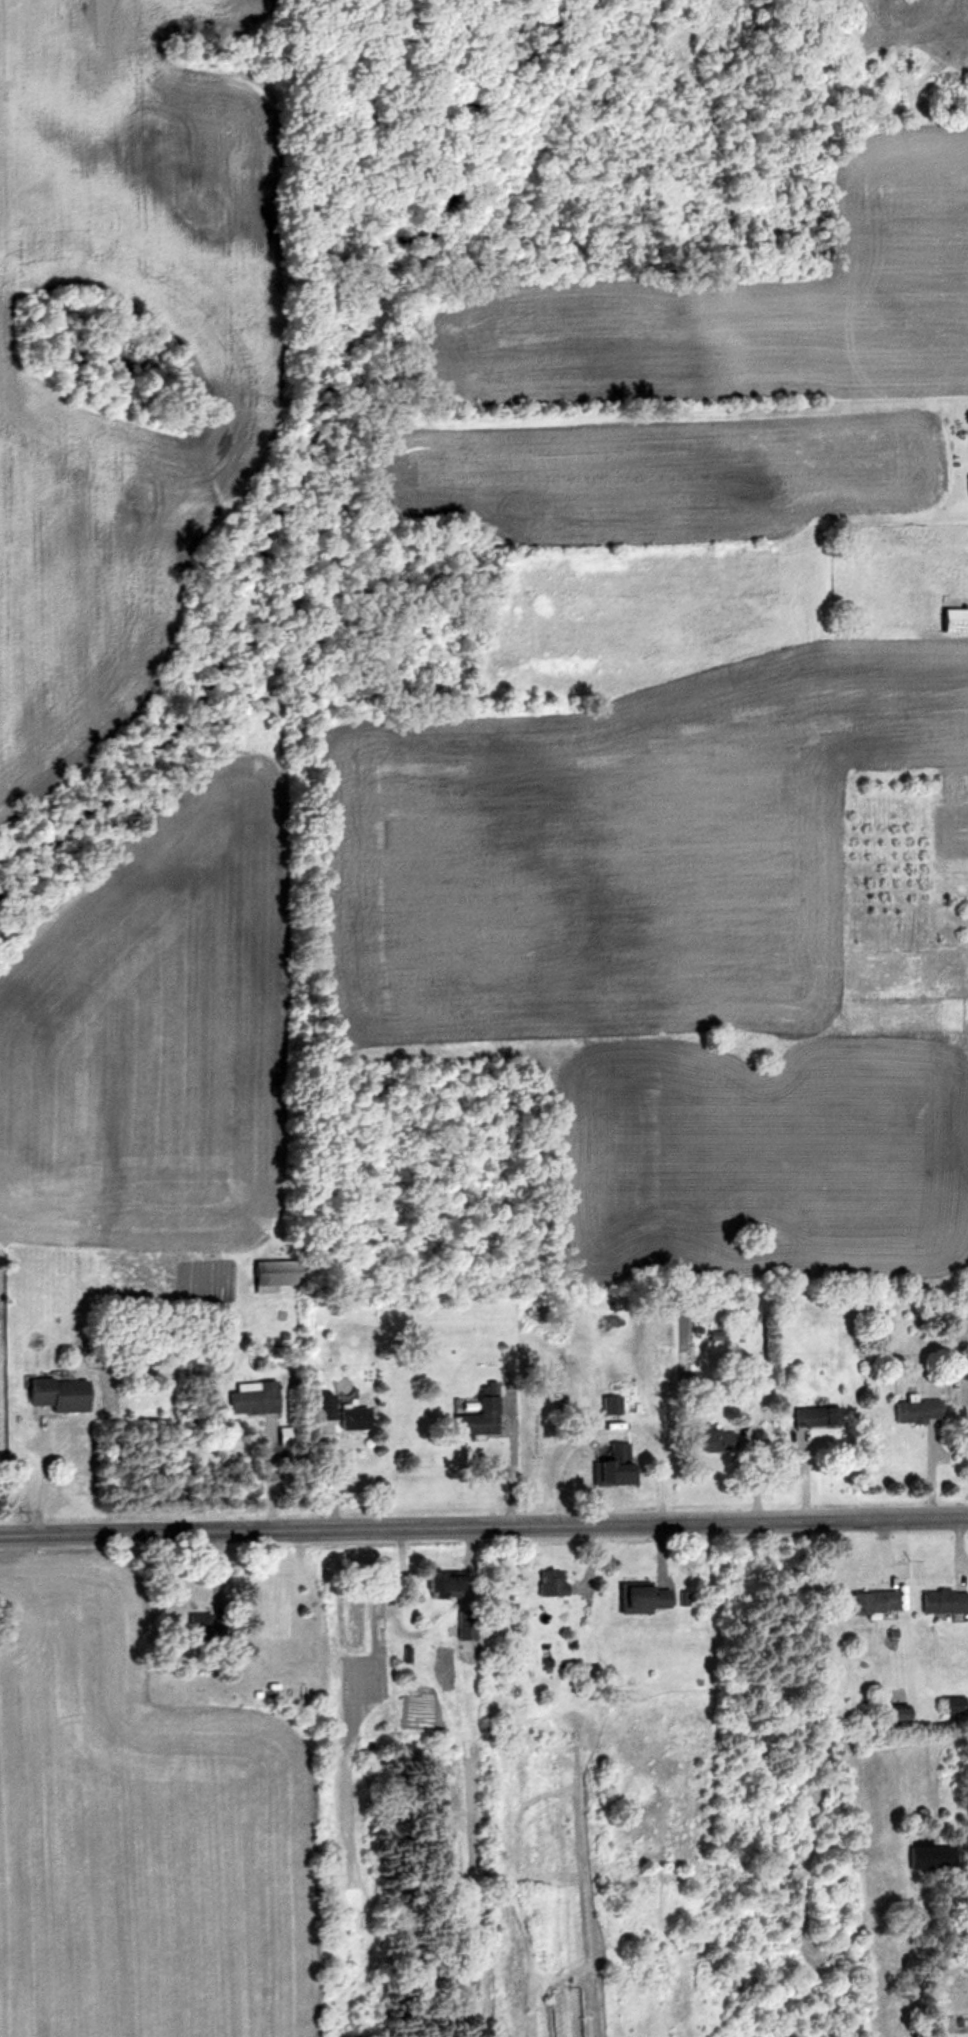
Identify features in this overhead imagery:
building: (273, 1275)
building: (283, 1335)
building: (491, 1389)
building: (59, 1394)
building: (252, 1397)
building: (323, 1406)
building: (611, 1406)
building: (635, 1407)
building: (915, 1409)
building: (351, 1416)
building: (808, 1416)
building: (830, 1416)
building: (478, 1418)
road: (608, 1428)
building: (283, 1435)
building: (706, 1438)
road: (747, 1441)
road: (512, 1455)
building: (609, 1461)
road: (931, 1469)
road: (753, 1470)
road: (43, 1473)
road: (267, 1473)
road: (805, 1475)
road: (333, 1477)
road: (484, 1525)
road: (958, 1552)
road: (659, 1553)
road: (884, 1553)
road: (589, 1565)
building: (550, 1584)
building: (439, 1585)
road: (217, 1587)
building: (641, 1597)
building: (874, 1602)
building: (945, 1603)
building: (203, 1625)
building: (464, 1627)
road: (421, 1631)
building: (572, 1645)
building: (572, 1655)
building: (545, 1662)
building: (953, 1705)
building: (893, 1713)
building: (927, 1855)

